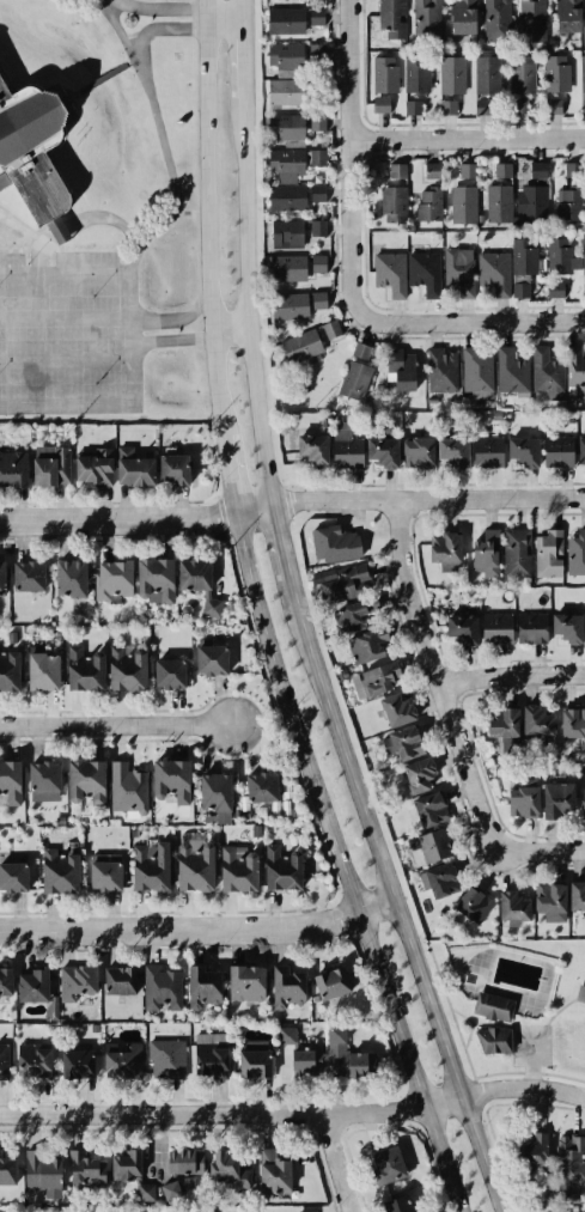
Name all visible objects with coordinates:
road: (170, 10)
road: (243, 14)
building: (567, 16)
building: (316, 17)
building: (463, 17)
building: (392, 18)
building: (426, 19)
building: (285, 20)
building: (530, 22)
road: (179, 31)
building: (316, 50)
building: (286, 59)
road: (243, 67)
building: (556, 73)
building: (384, 74)
building: (416, 74)
building: (451, 74)
building: (487, 74)
building: (522, 74)
road: (102, 80)
building: (581, 83)
building: (285, 91)
building: (380, 104)
building: (518, 105)
building: (553, 105)
building: (447, 106)
building: (413, 108)
building: (482, 108)
building: (317, 122)
building: (285, 126)
road: (468, 136)
building: (32, 150)
road: (352, 159)
building: (293, 163)
road: (206, 164)
building: (397, 170)
building: (432, 170)
building: (468, 170)
building: (502, 170)
building: (537, 170)
building: (317, 193)
building: (286, 197)
building: (392, 203)
building: (498, 203)
building: (568, 203)
building: (428, 205)
building: (462, 205)
building: (531, 205)
building: (317, 227)
road: (67, 231)
building: (59, 232)
road: (130, 232)
building: (286, 233)
road: (150, 235)
building: (583, 255)
building: (561, 257)
building: (318, 263)
building: (522, 266)
building: (288, 267)
building: (459, 270)
building: (390, 273)
building: (425, 273)
building: (494, 273)
building: (555, 290)
building: (583, 290)
road: (48, 293)
building: (318, 300)
road: (245, 305)
building: (290, 306)
road: (173, 319)
road: (475, 321)
road: (228, 328)
building: (331, 329)
road: (170, 340)
building: (301, 346)
building: (361, 351)
building: (401, 369)
building: (476, 369)
building: (441, 370)
building: (511, 371)
building: (575, 372)
building: (547, 374)
building: (354, 379)
road: (215, 382)
building: (346, 447)
building: (313, 449)
building: (455, 450)
building: (581, 450)
building: (488, 451)
building: (524, 451)
building: (557, 451)
building: (383, 452)
building: (418, 452)
building: (50, 465)
building: (95, 468)
building: (134, 468)
building: (13, 469)
building: (173, 469)
road: (227, 474)
road: (292, 501)
road: (279, 542)
building: (334, 544)
building: (445, 550)
building: (516, 552)
building: (487, 553)
building: (575, 553)
building: (549, 554)
building: (29, 575)
building: (71, 578)
building: (1, 579)
building: (156, 579)
building: (112, 580)
building: (199, 583)
building: (343, 583)
building: (351, 616)
building: (567, 627)
building: (496, 628)
building: (531, 628)
building: (463, 629)
building: (365, 646)
building: (211, 659)
building: (127, 668)
building: (85, 669)
building: (8, 671)
building: (43, 671)
building: (169, 674)
road: (511, 675)
road: (437, 677)
building: (380, 678)
building: (397, 709)
building: (536, 720)
building: (502, 723)
building: (572, 723)
road: (116, 724)
building: (402, 743)
building: (419, 774)
building: (171, 780)
building: (11, 781)
building: (43, 781)
building: (86, 781)
building: (262, 787)
building: (127, 788)
building: (215, 794)
building: (524, 798)
building: (557, 799)
building: (583, 803)
building: (431, 809)
building: (434, 846)
road: (540, 852)
road: (340, 864)
building: (151, 866)
building: (195, 867)
building: (282, 867)
building: (238, 869)
building: (60, 870)
building: (105, 872)
building: (13, 877)
building: (443, 881)
road: (390, 895)
building: (577, 896)
building: (549, 897)
building: (474, 905)
building: (513, 908)
road: (197, 930)
building: (121, 980)
building: (6, 981)
building: (77, 981)
building: (246, 982)
building: (331, 983)
building: (33, 986)
building: (287, 986)
building: (203, 987)
building: (162, 988)
building: (492, 1006)
building: (287, 1035)
building: (494, 1040)
building: (211, 1054)
building: (349, 1055)
building: (167, 1059)
building: (254, 1059)
building: (122, 1060)
building: (4, 1061)
building: (33, 1061)
building: (286, 1062)
building: (306, 1062)
building: (78, 1064)
road: (294, 1114)
building: (532, 1152)
building: (184, 1162)
road: (335, 1163)
building: (388, 1165)
building: (569, 1165)
building: (86, 1169)
building: (228, 1169)
building: (7, 1171)
building: (43, 1173)
building: (132, 1173)
building: (274, 1173)
building: (170, 1190)
building: (397, 1205)
building: (4, 1211)
building: (120, 1211)
building: (306, 1211)

